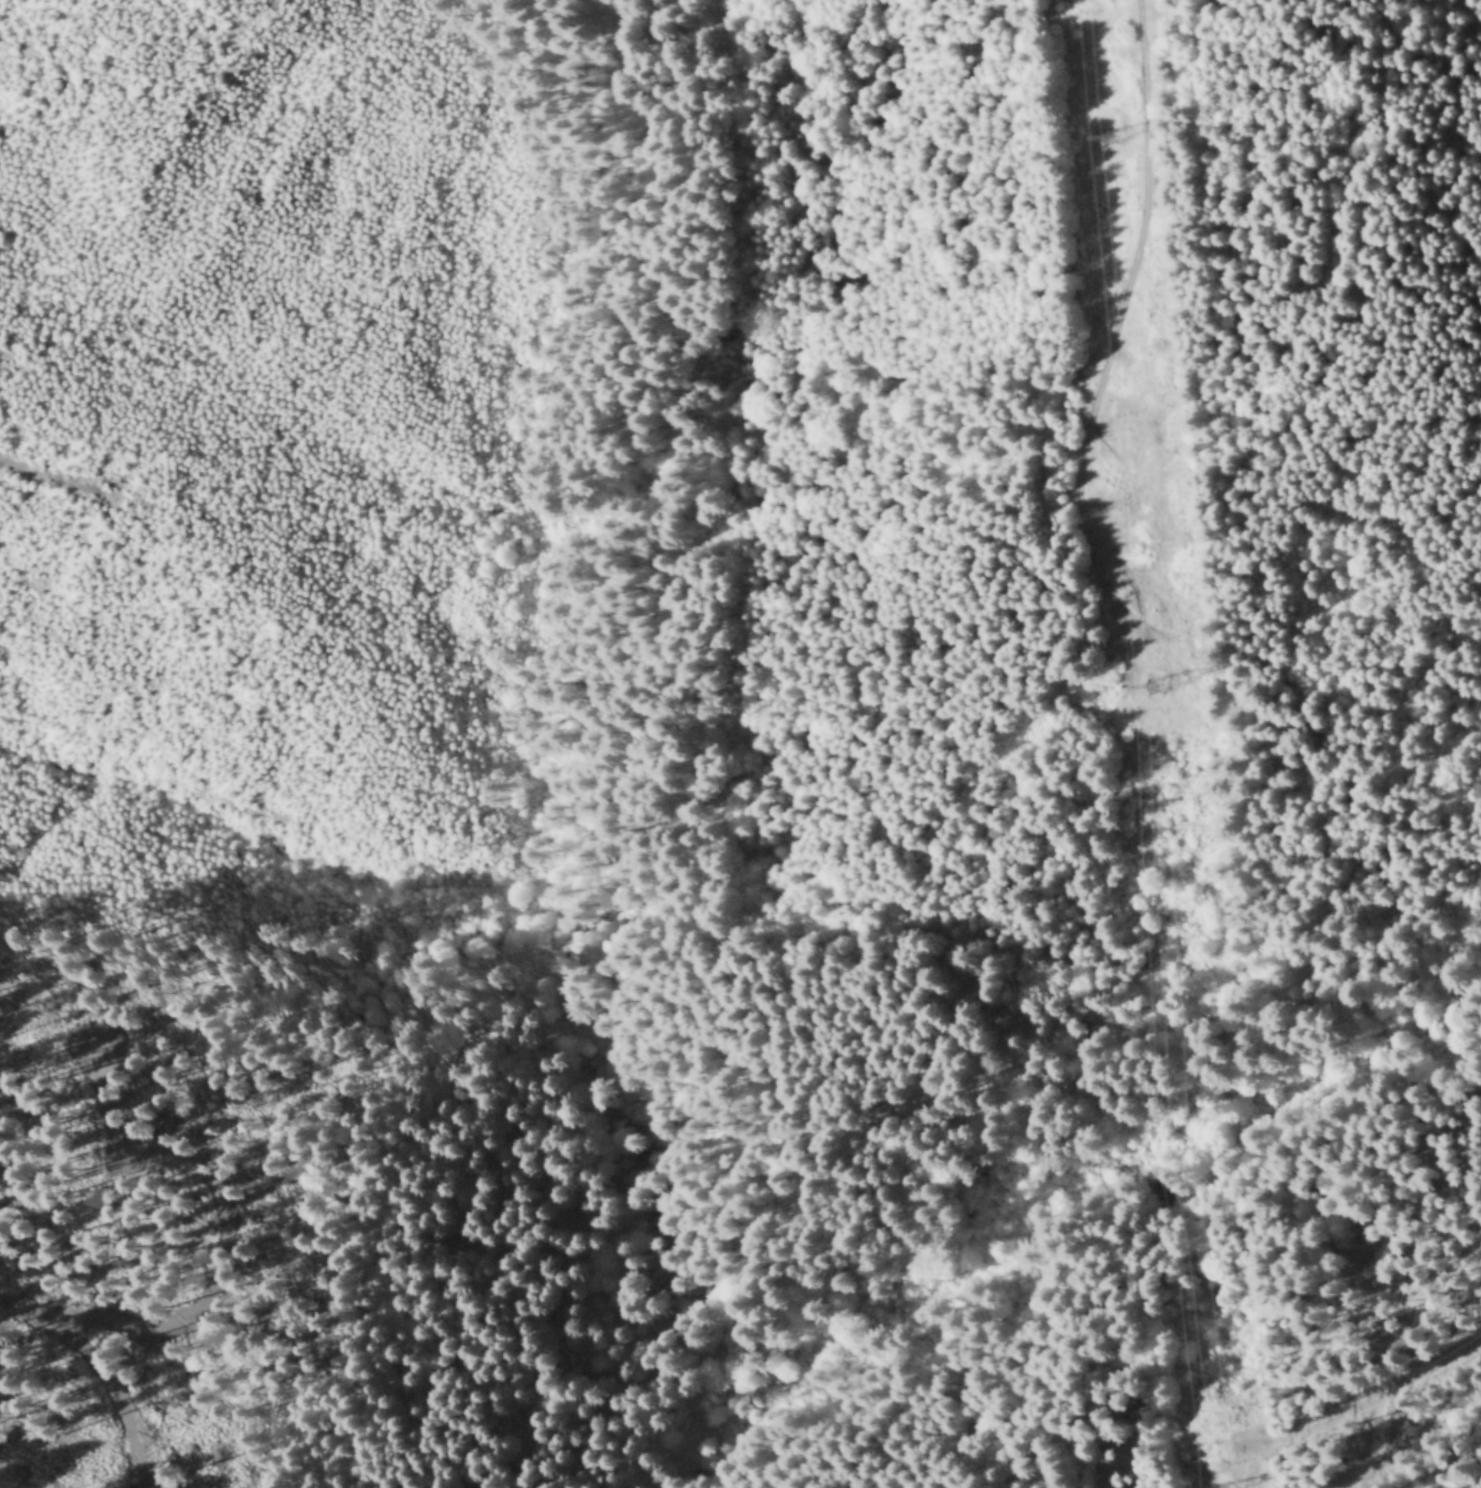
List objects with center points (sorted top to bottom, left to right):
power tower: (1126, 143)
power tower: (1180, 714)

